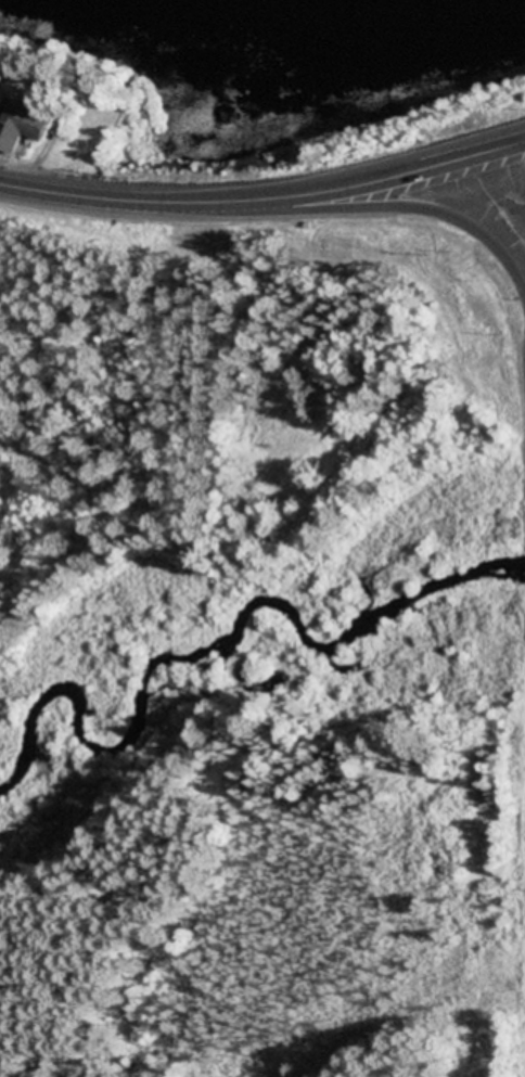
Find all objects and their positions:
building: (22, 124)
road: (337, 191)
road: (73, 197)
road: (350, 210)

